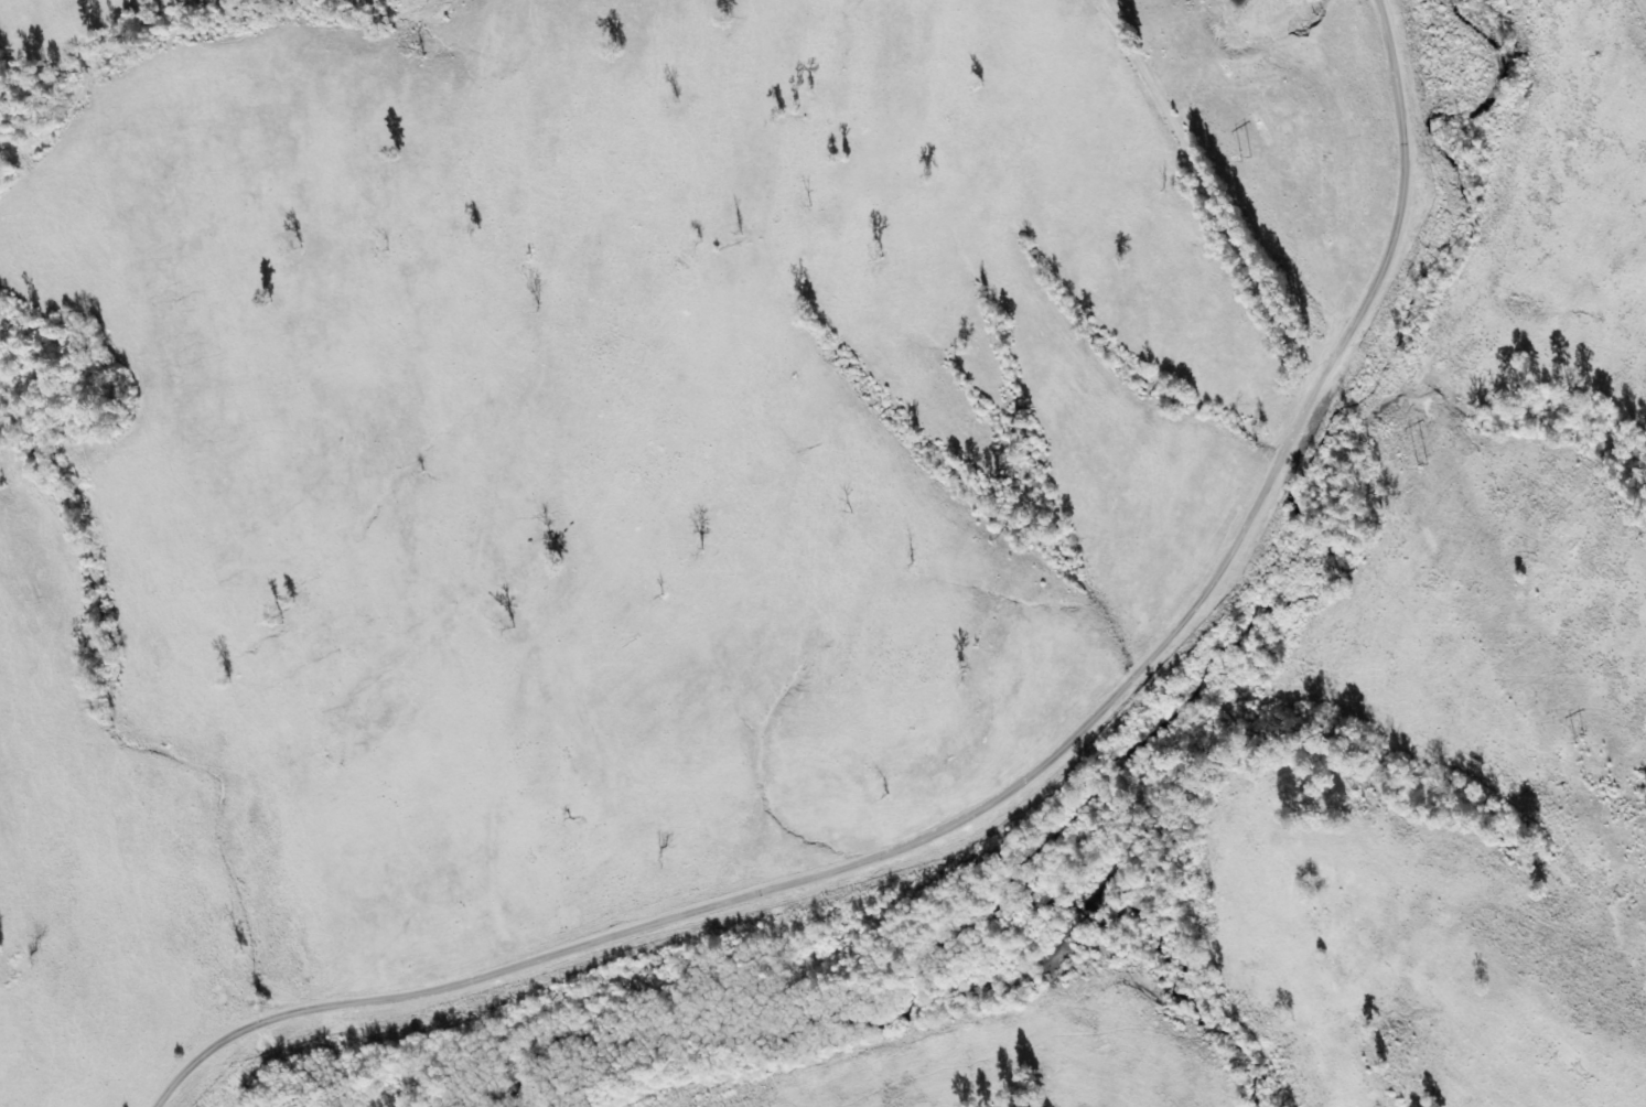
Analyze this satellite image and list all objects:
power tower: (1248, 157)
power tower: (1423, 466)
power tower: (1581, 738)

